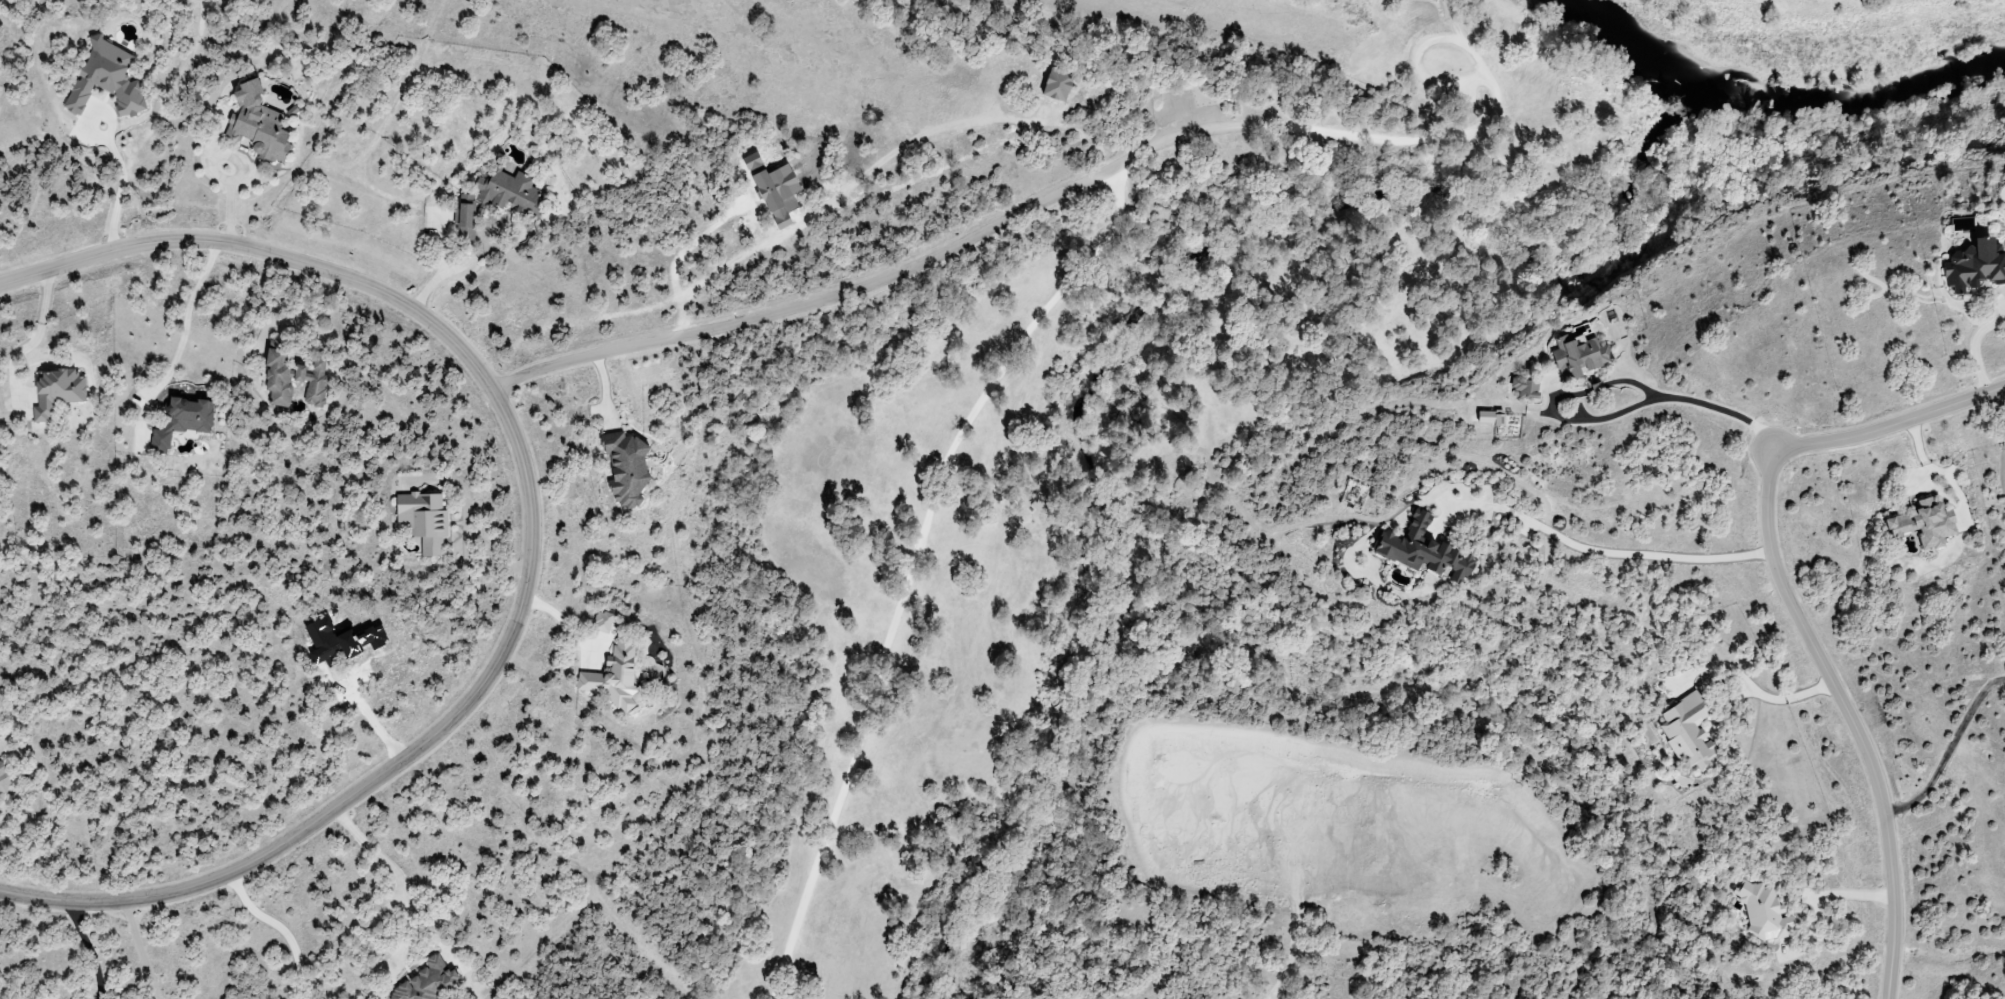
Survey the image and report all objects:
road: (1419, 58)
building: (106, 79)
building: (1057, 83)
river: (1773, 101)
parking lot: (1177, 123)
building: (257, 125)
road: (1083, 131)
road: (120, 181)
building: (773, 184)
building: (509, 192)
building: (782, 220)
building: (464, 221)
road: (675, 259)
building: (1974, 266)
road: (451, 272)
road: (812, 304)
road: (307, 323)
road: (182, 335)
road: (33, 341)
road: (1976, 348)
building: (1579, 355)
road: (1010, 367)
building: (293, 378)
building: (1526, 388)
building: (56, 391)
road: (2004, 400)
road: (1694, 404)
building: (1490, 418)
building: (183, 420)
road: (1889, 430)
building: (626, 468)
park: (938, 497)
building: (424, 520)
building: (1925, 524)
road: (466, 532)
road: (532, 544)
building: (1423, 550)
road: (1611, 550)
building: (601, 621)
road: (566, 624)
building: (613, 676)
road: (1785, 696)
road: (1847, 718)
building: (1688, 733)
road: (1947, 750)
building: (4, 777)
road: (398, 880)
road: (1823, 892)
building: (1764, 912)
road: (281, 931)
road: (139, 952)
building: (428, 983)

